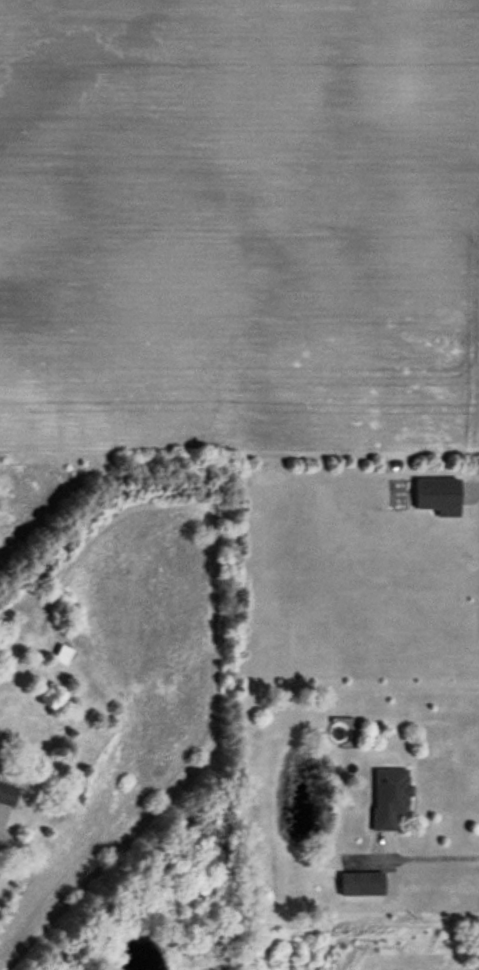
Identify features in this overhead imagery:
building: (436, 495)
building: (60, 654)
building: (6, 793)
building: (386, 796)
road: (1, 815)
road: (418, 856)
building: (359, 883)

